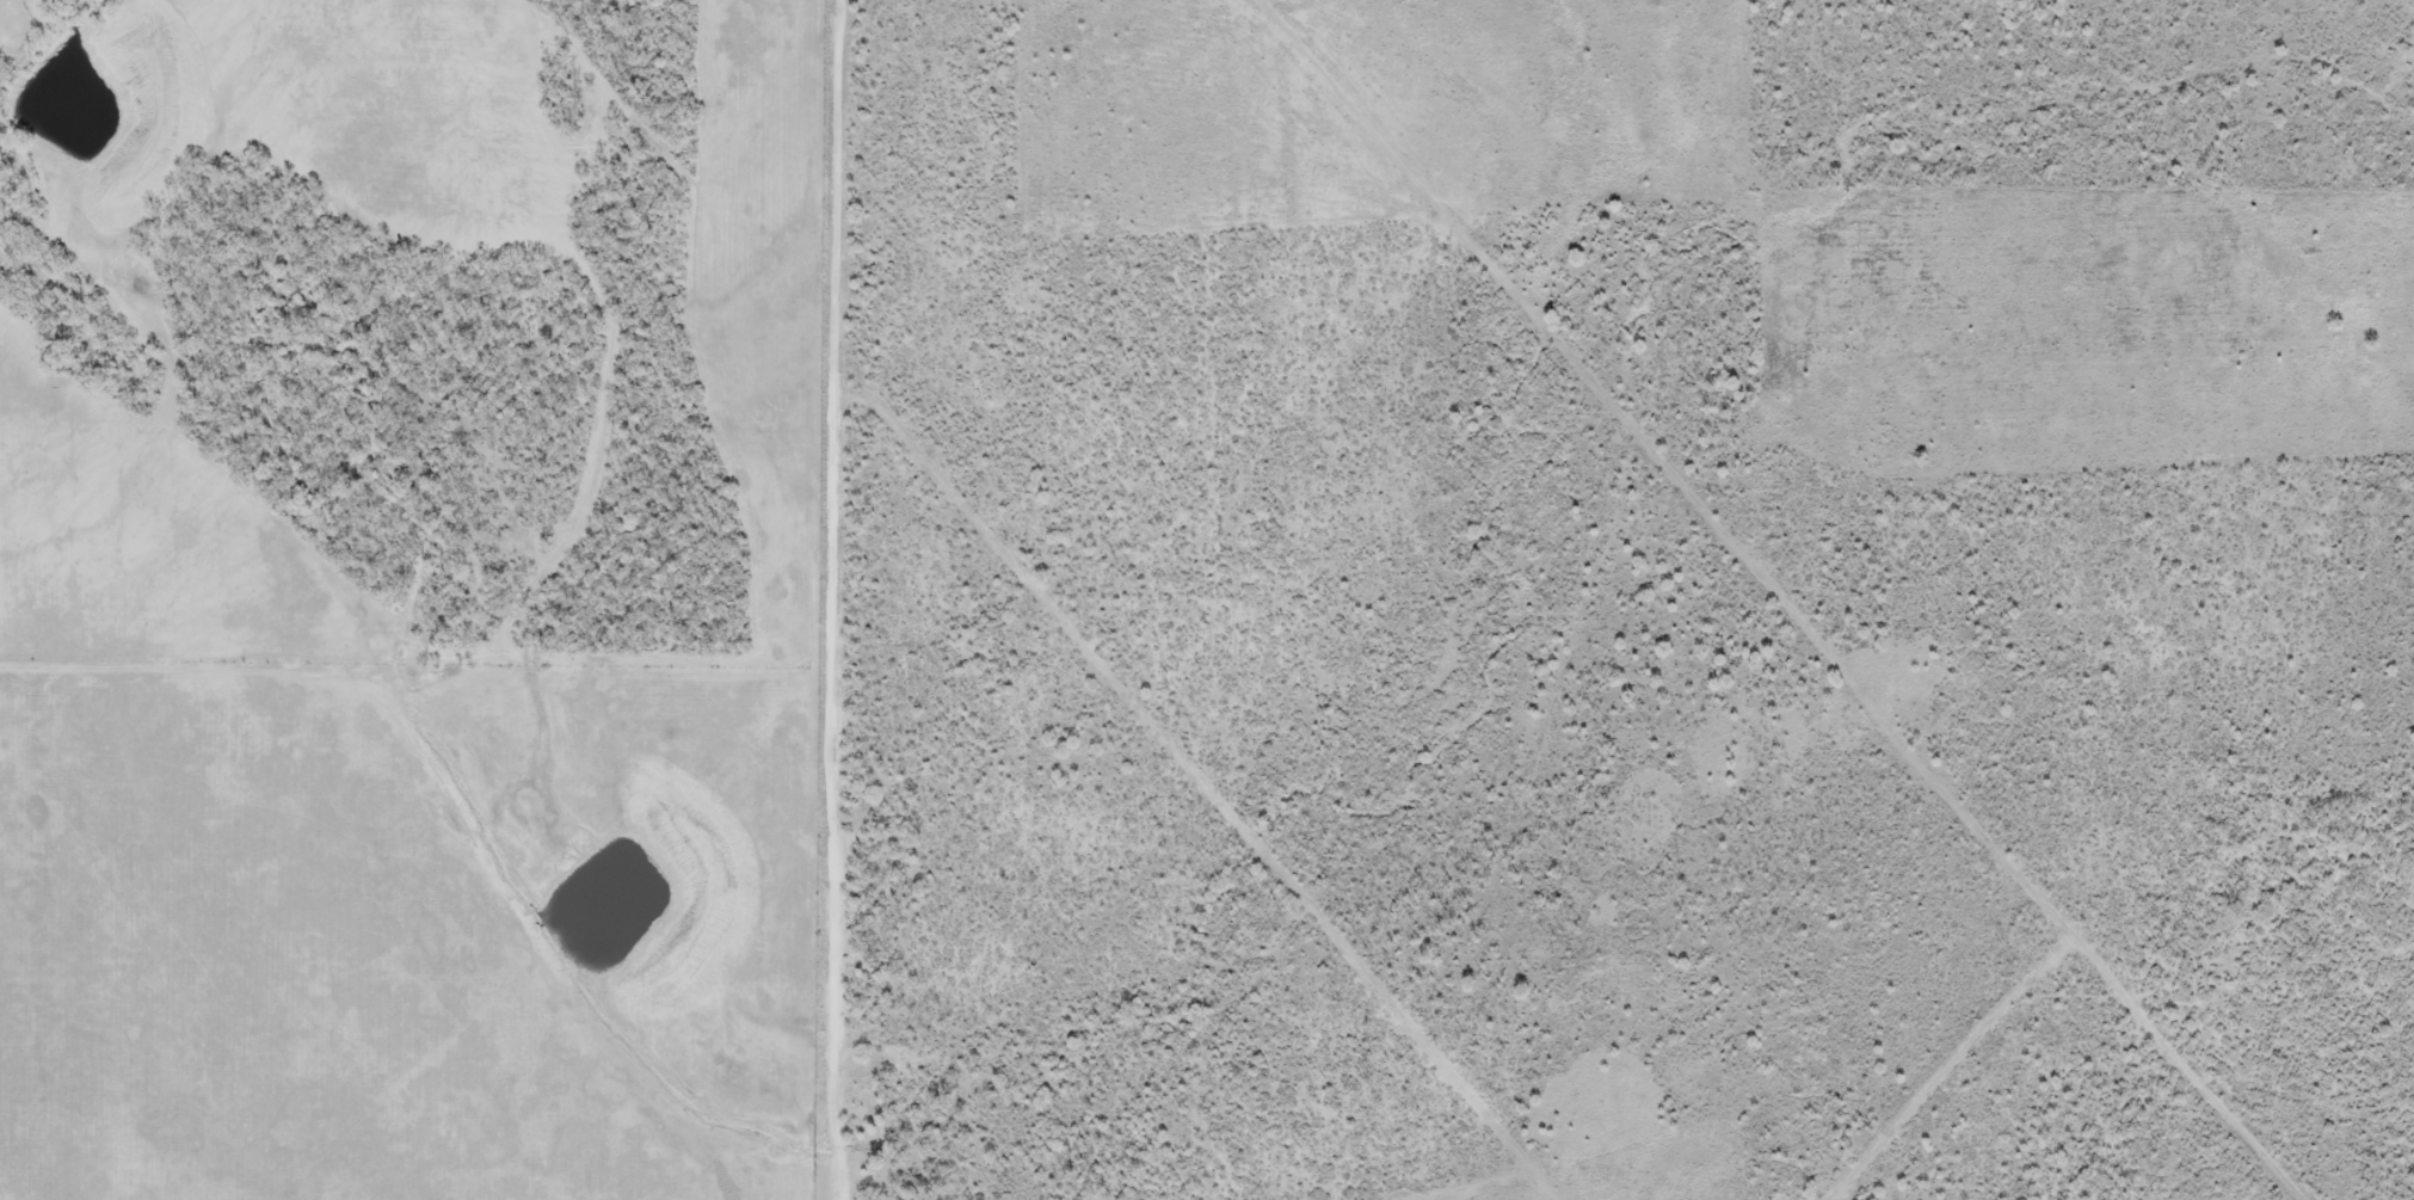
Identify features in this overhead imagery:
road: (826, 599)

